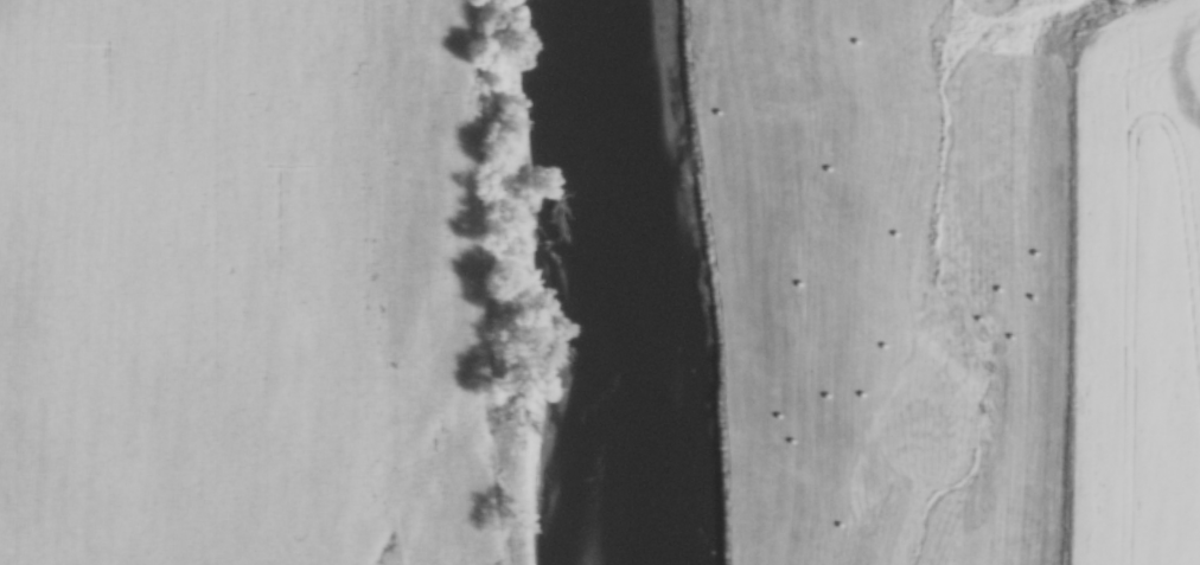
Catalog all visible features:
river: (608, 282)
crop: (242, 288)
crop: (1138, 294)

